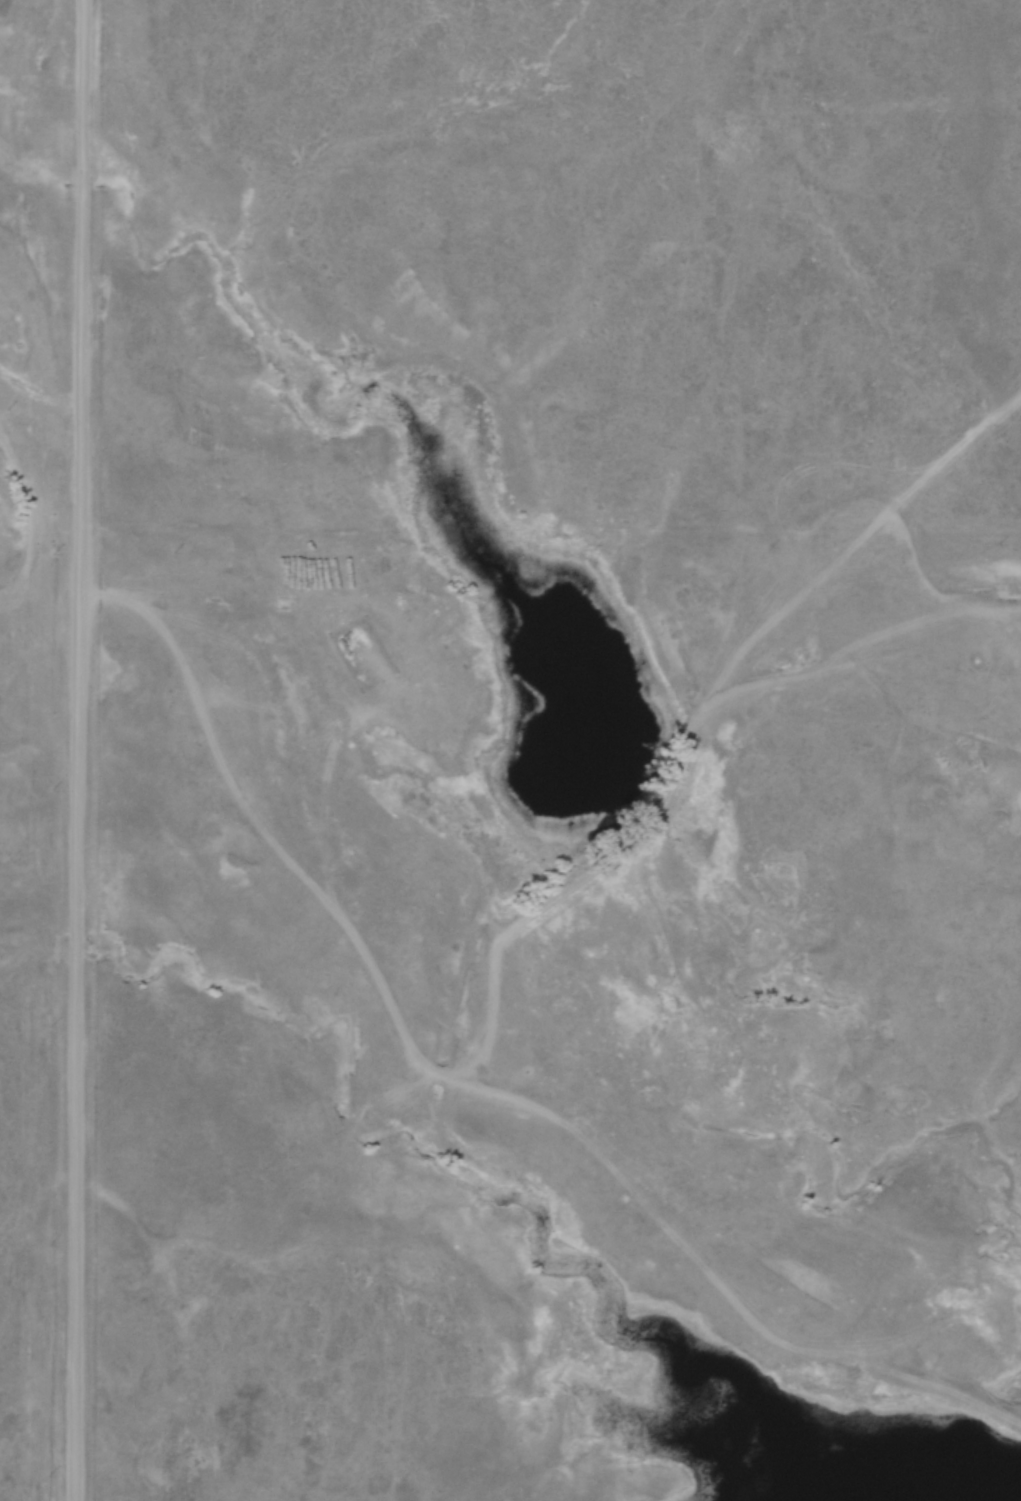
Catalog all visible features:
road: (36, 394)
road: (79, 750)

